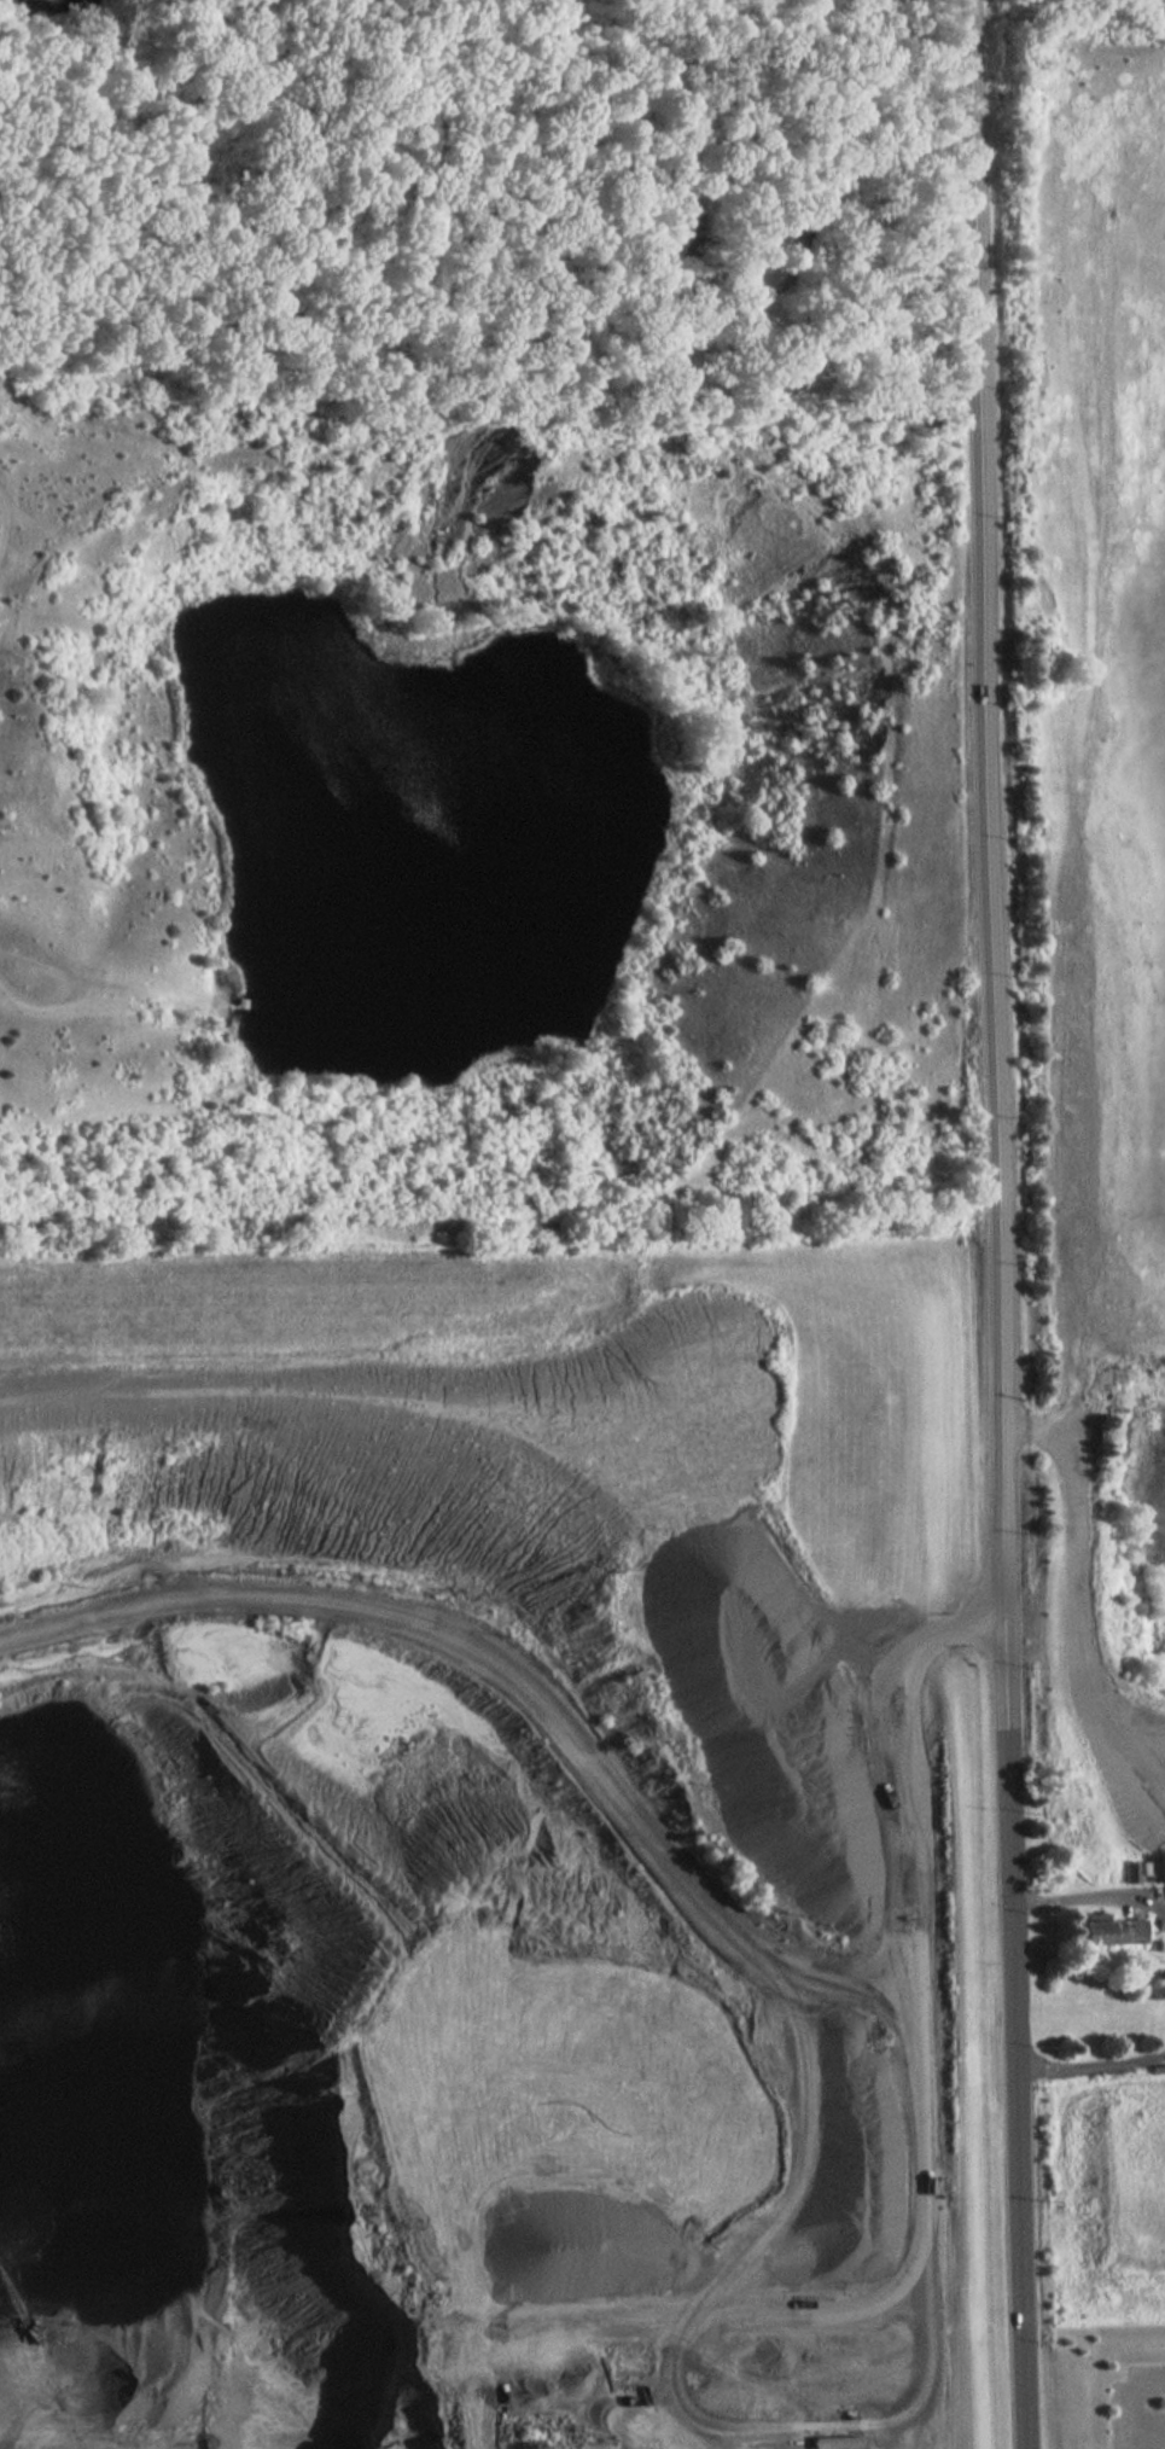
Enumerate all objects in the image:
road: (605, 5)
road: (879, 161)
building: (692, 222)
road: (774, 290)
road: (8, 527)
quarry: (435, 812)
road: (124, 985)
road: (41, 997)
road: (272, 1008)
quarry: (1101, 1148)
road: (997, 1223)
road: (939, 1634)
road: (881, 1814)
quarry: (449, 1874)
road: (1089, 1900)
building: (1114, 1932)
road: (837, 1959)
road: (780, 1961)
road: (867, 2000)
road: (1091, 2070)
road: (926, 2082)
road: (831, 2305)

